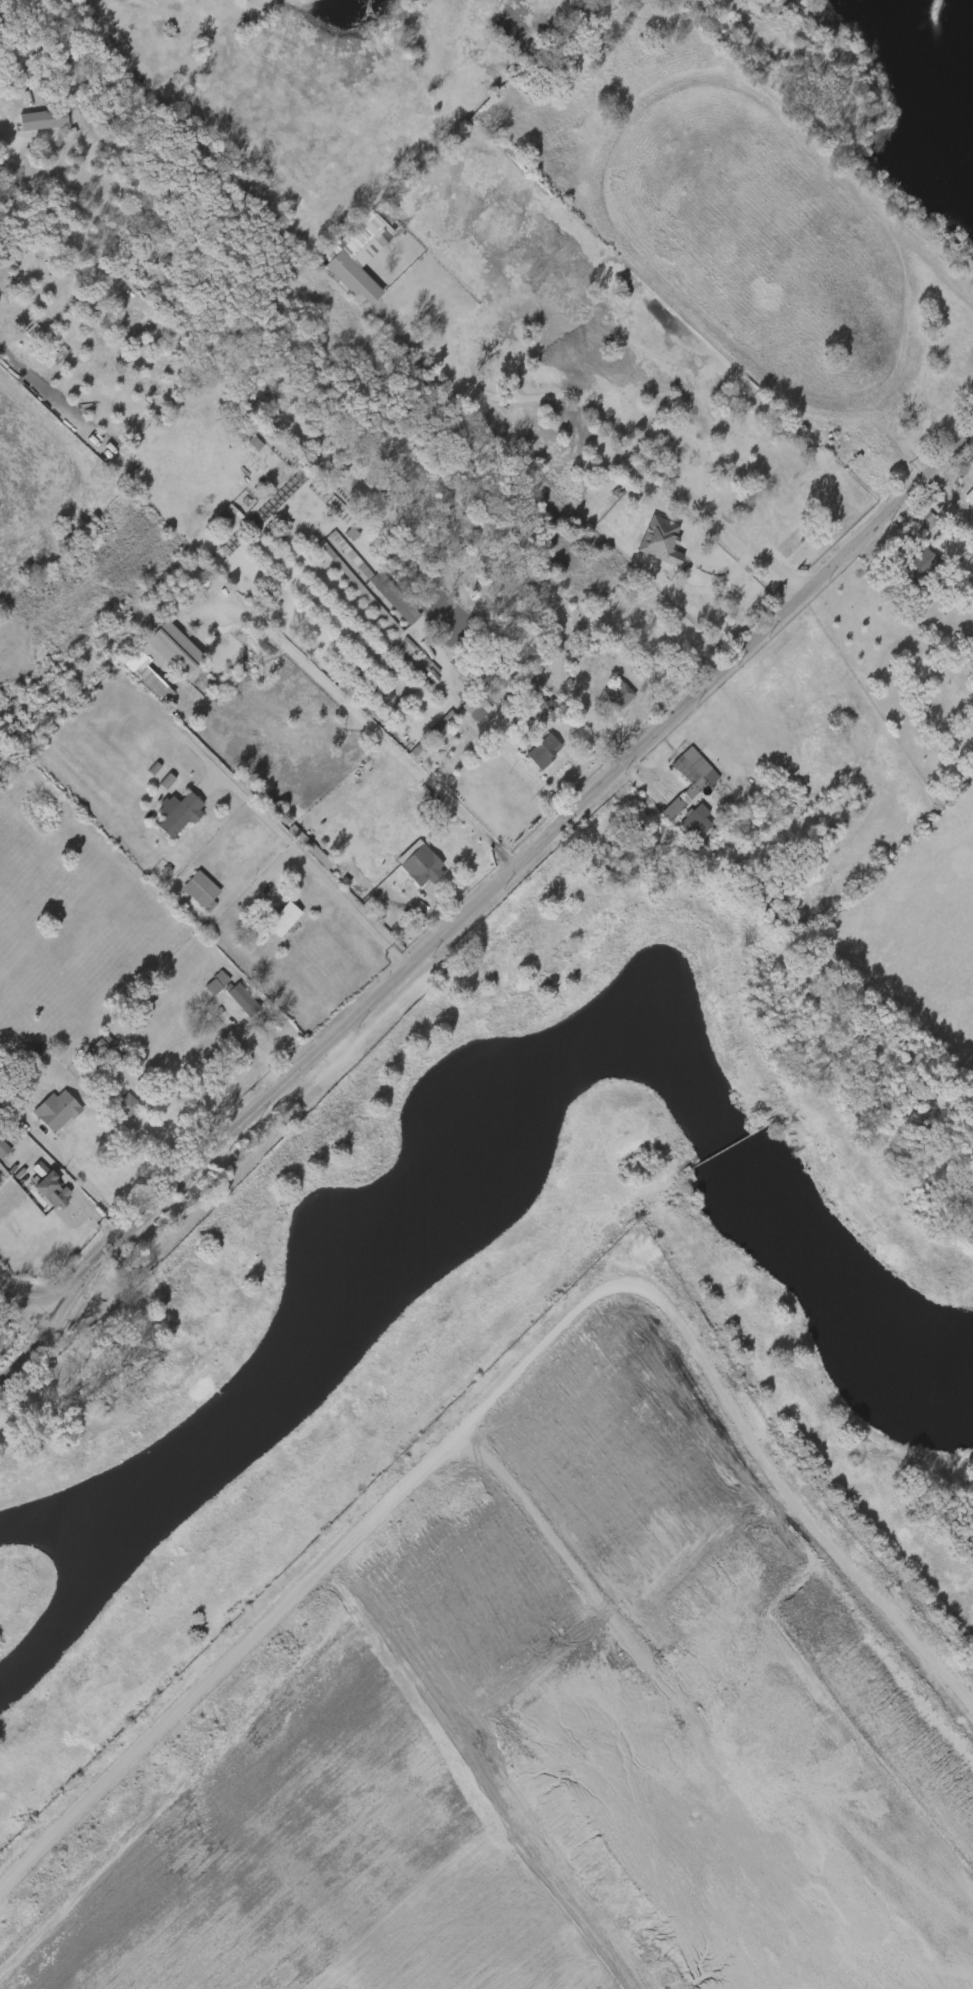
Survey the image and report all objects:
building: (11, 15)
building: (41, 120)
building: (340, 282)
building: (20, 334)
road: (603, 423)
building: (959, 502)
building: (334, 503)
road: (942, 507)
building: (229, 516)
building: (922, 517)
building: (216, 520)
building: (647, 544)
building: (919, 565)
building: (905, 569)
building: (966, 583)
building: (382, 584)
building: (360, 586)
building: (381, 601)
building: (504, 690)
building: (618, 693)
building: (605, 696)
building: (475, 706)
building: (462, 711)
building: (532, 714)
building: (433, 734)
building: (543, 750)
building: (531, 754)
building: (691, 781)
building: (676, 783)
building: (154, 784)
building: (165, 816)
building: (694, 821)
building: (682, 826)
building: (420, 865)
road: (297, 869)
road: (508, 873)
road: (254, 879)
building: (175, 887)
building: (283, 919)
building: (271, 922)
building: (215, 982)
building: (203, 986)
building: (242, 999)
building: (231, 1004)
building: (106, 1049)
building: (89, 1050)
building: (19, 1055)
building: (127, 1105)
building: (115, 1108)
building: (55, 1110)
building: (2, 1149)
road: (88, 1186)
building: (48, 1189)
road: (19, 1314)
road: (20, 1342)
road: (502, 1397)
wastewater plant: (525, 1520)

